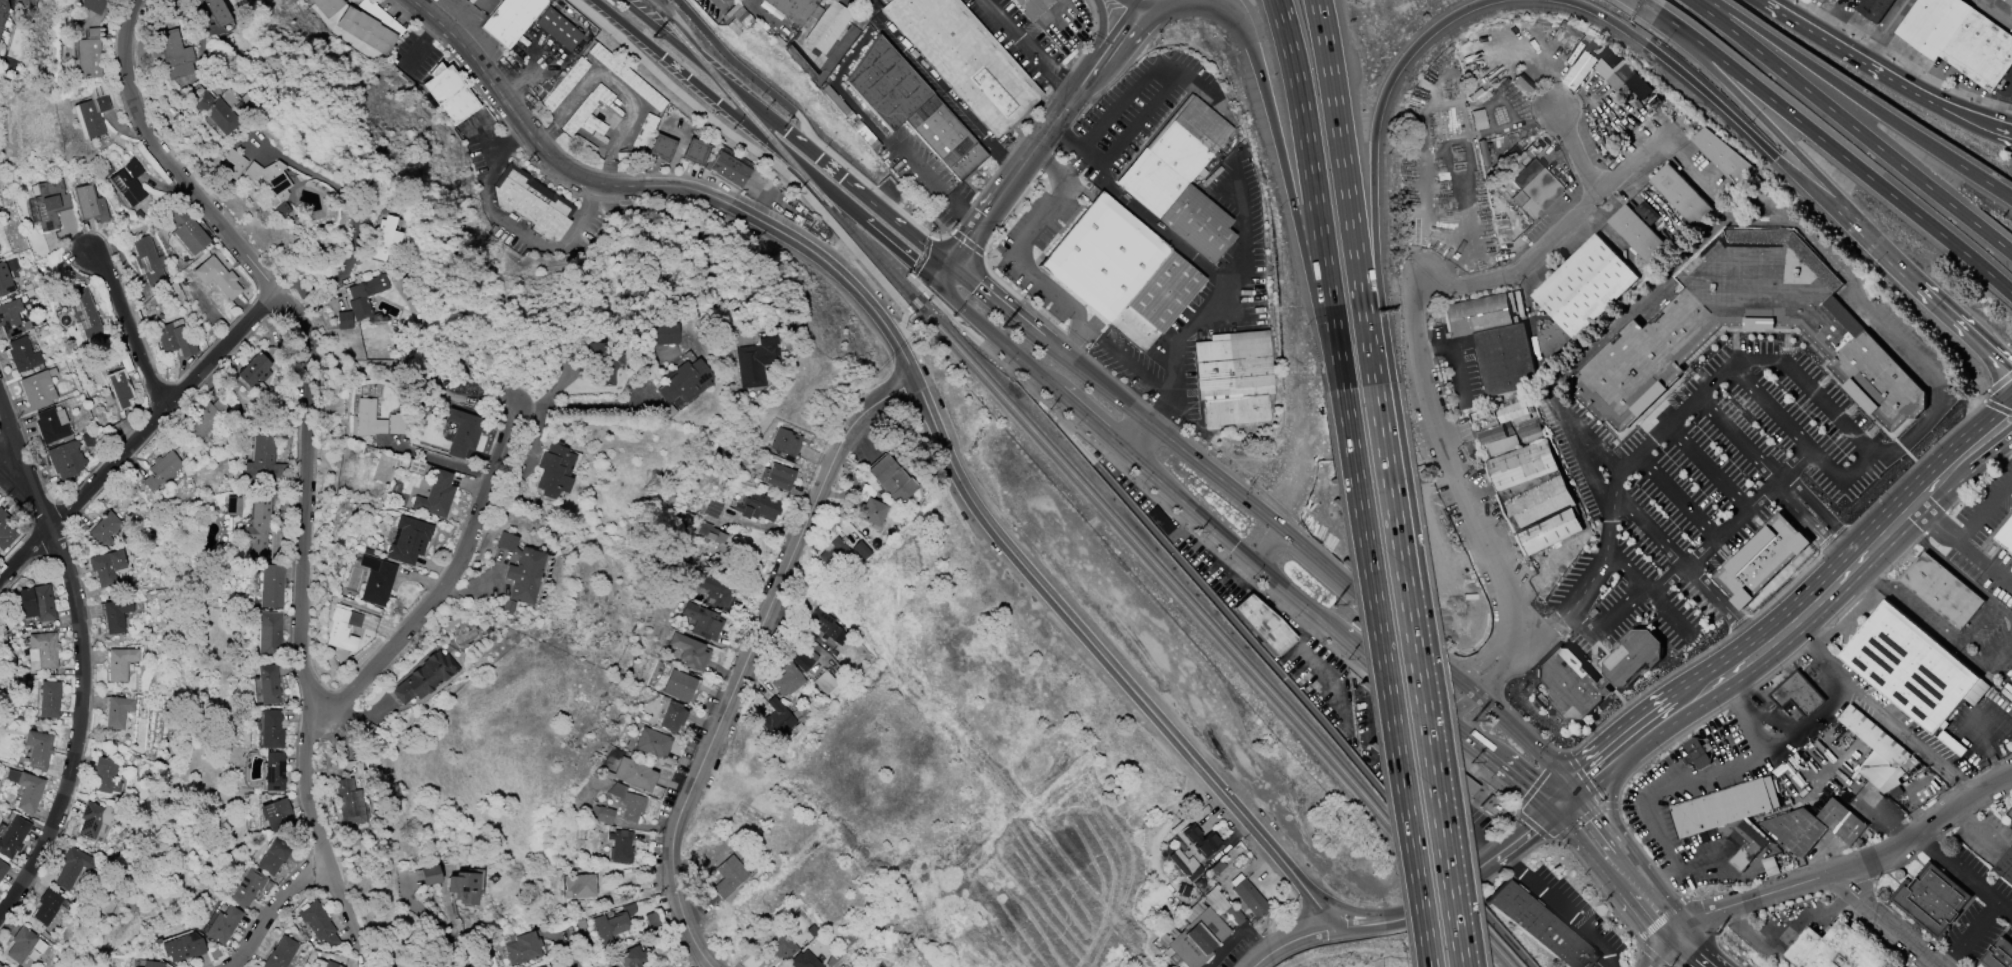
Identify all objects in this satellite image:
building: (2009, 1)
building: (25, 3)
road: (1127, 4)
road: (1133, 4)
road: (1137, 4)
road: (1147, 4)
road: (1843, 4)
building: (96, 5)
road: (1649, 5)
building: (325, 6)
building: (1032, 7)
traffic signals: (1135, 8)
building: (1875, 9)
road: (1997, 9)
building: (3, 12)
building: (216, 16)
road: (1667, 18)
building: (510, 19)
road: (1239, 19)
building: (814, 20)
road: (1104, 26)
road: (202, 30)
building: (558, 30)
building: (365, 31)
road: (1119, 31)
road: (1884, 31)
power tower: (652, 35)
railway: (678, 35)
building: (1960, 39)
road: (1027, 47)
building: (1594, 48)
building: (90, 55)
building: (174, 55)
building: (1611, 58)
building: (964, 59)
building: (800, 61)
road: (533, 69)
building: (1579, 71)
road: (1089, 74)
road: (1881, 74)
building: (626, 77)
building: (1629, 81)
road: (611, 84)
road: (1555, 84)
building: (564, 85)
road: (735, 91)
building: (448, 94)
road: (1861, 99)
road: (1161, 100)
building: (912, 108)
road: (729, 109)
road: (1724, 109)
building: (213, 110)
building: (588, 113)
building: (91, 116)
road: (1545, 118)
road: (1852, 125)
road: (1772, 131)
building: (639, 140)
building: (662, 148)
road: (1034, 149)
building: (695, 152)
road: (758, 154)
building: (1724, 156)
road: (1843, 157)
building: (233, 163)
road: (1372, 164)
building: (727, 168)
building: (1181, 179)
road: (937, 181)
building: (128, 183)
building: (272, 184)
building: (1533, 189)
road: (1347, 192)
road: (1313, 194)
building: (1682, 194)
building: (50, 203)
building: (532, 203)
building: (90, 204)
road: (985, 214)
traffic signals: (984, 217)
road: (1295, 218)
road: (356, 219)
road: (897, 225)
road: (1155, 228)
building: (187, 231)
building: (1641, 231)
road: (514, 232)
road: (1804, 236)
building: (386, 239)
road: (963, 245)
road: (898, 252)
building: (148, 261)
traffic signals: (913, 265)
traffic signals: (947, 266)
building: (1121, 272)
road: (940, 274)
building: (217, 277)
building: (5, 281)
traffic signals: (934, 283)
road: (1216, 285)
traffic signals: (974, 289)
building: (1581, 292)
building: (364, 296)
road: (992, 304)
road: (1940, 305)
road: (1069, 308)
power tower: (980, 310)
building: (84, 313)
road: (1531, 313)
building: (11, 318)
road: (1415, 325)
road: (133, 328)
building: (659, 334)
road: (996, 337)
building: (176, 338)
building: (1495, 340)
building: (1655, 349)
building: (22, 355)
road: (1451, 357)
building: (604, 360)
building: (754, 362)
road: (910, 368)
building: (254, 370)
building: (1233, 378)
building: (684, 382)
building: (38, 389)
building: (119, 389)
road: (1808, 396)
road: (313, 400)
road: (1070, 402)
road: (589, 405)
building: (1512, 411)
road: (1998, 415)
building: (207, 418)
building: (368, 419)
building: (397, 424)
building: (52, 425)
road: (1076, 429)
building: (1529, 430)
road: (1105, 432)
road: (2001, 432)
road: (138, 433)
building: (462, 433)
road: (1163, 435)
road: (1738, 440)
building: (786, 443)
building: (1499, 446)
road: (1975, 449)
railway: (1052, 453)
building: (264, 459)
building: (66, 460)
road: (1708, 467)
building: (554, 470)
building: (161, 471)
road: (1950, 471)
building: (777, 477)
building: (892, 480)
road: (1682, 491)
building: (1535, 495)
building: (436, 496)
road: (25, 502)
building: (234, 506)
building: (757, 507)
road: (1753, 507)
road: (1980, 508)
building: (713, 509)
building: (871, 509)
road: (1827, 517)
building: (1160, 521)
building: (683, 525)
building: (258, 528)
building: (104, 529)
road: (1813, 529)
building: (7, 530)
building: (2006, 534)
building: (710, 535)
building: (409, 540)
road: (1272, 548)
road: (1962, 549)
building: (860, 550)
building: (835, 556)
road: (1318, 559)
building: (1764, 560)
building: (106, 567)
building: (519, 573)
road: (1594, 579)
building: (376, 581)
road: (459, 583)
building: (271, 586)
road: (1288, 590)
building: (1942, 590)
building: (716, 593)
road: (1827, 594)
power tower: (1331, 601)
building: (36, 603)
road: (1910, 604)
road: (1629, 611)
building: (116, 615)
building: (703, 622)
road: (1985, 622)
building: (1264, 625)
building: (826, 626)
building: (340, 630)
building: (269, 635)
road: (1250, 638)
building: (42, 652)
building: (690, 652)
road: (81, 656)
road: (751, 661)
road: (1989, 661)
building: (802, 662)
building: (120, 663)
road: (1479, 665)
building: (1910, 667)
building: (1563, 675)
road: (1417, 676)
building: (424, 678)
road: (1385, 679)
building: (787, 681)
building: (824, 683)
building: (268, 685)
building: (679, 686)
road: (1466, 688)
road: (1486, 690)
building: (1798, 694)
building: (49, 700)
building: (118, 711)
road: (1882, 712)
building: (672, 717)
building: (775, 719)
power tower: (1474, 721)
road: (1995, 723)
road: (1661, 725)
building: (271, 729)
building: (1946, 738)
building: (652, 743)
road: (1775, 746)
building: (37, 749)
building: (1878, 751)
building: (1697, 754)
road: (1502, 769)
building: (274, 772)
building: (634, 774)
road: (1600, 775)
building: (105, 776)
building: (26, 790)
traffic signals: (1580, 792)
road: (1651, 799)
building: (348, 802)
building: (628, 802)
road: (1567, 802)
road: (1613, 802)
building: (2010, 812)
traffic signals: (1555, 813)
building: (277, 816)
building: (602, 816)
building: (1730, 816)
building: (96, 819)
road: (1600, 819)
building: (1816, 826)
building: (2011, 827)
road: (1528, 835)
building: (13, 837)
building: (1201, 841)
building: (620, 846)
building: (273, 856)
road: (1591, 856)
building: (1185, 865)
building: (2006, 865)
building: (73, 868)
building: (1216, 868)
road: (1629, 868)
building: (3, 870)
road: (1852, 870)
building: (430, 875)
road: (1966, 875)
building: (728, 877)
building: (579, 884)
building: (247, 888)
building: (463, 888)
road: (1464, 888)
railway: (1449, 892)
building: (1250, 898)
building: (1931, 899)
building: (49, 906)
road: (1318, 907)
road: (1349, 909)
road: (1562, 909)
road: (346, 910)
road: (277, 911)
road: (1427, 911)
road: (1893, 921)
building: (652, 922)
road: (435, 924)
building: (612, 924)
building: (223, 925)
building: (319, 925)
building: (1541, 927)
road: (1671, 929)
road: (1236, 931)
power tower: (1718, 932)
road: (1970, 933)
building: (1198, 938)
road: (1505, 938)
road: (1290, 941)
building: (180, 944)
building: (23, 945)
building: (779, 946)
building: (523, 949)
building: (1835, 949)
road: (570, 950)
road: (1661, 950)
building: (281, 953)
building: (2000, 954)
building: (632, 957)
railway: (1507, 959)
building: (804, 961)
building: (151, 964)
building: (330, 964)
building: (0, 966)
building: (542, 966)
road: (718, 966)

